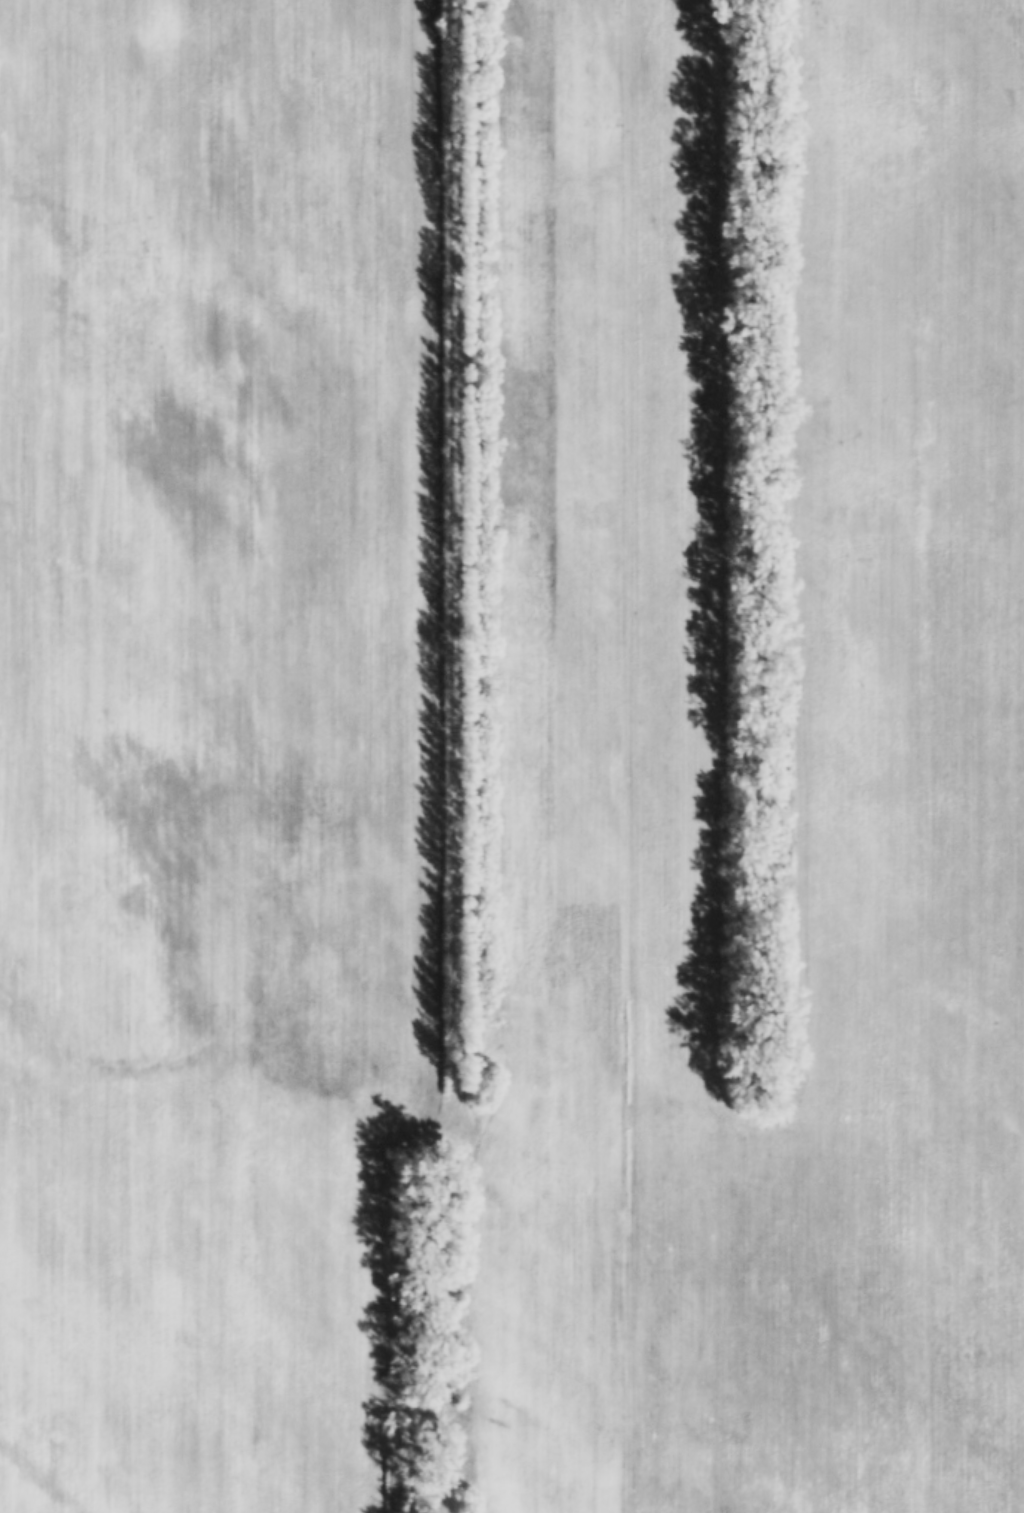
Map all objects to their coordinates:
road: (919, 756)

